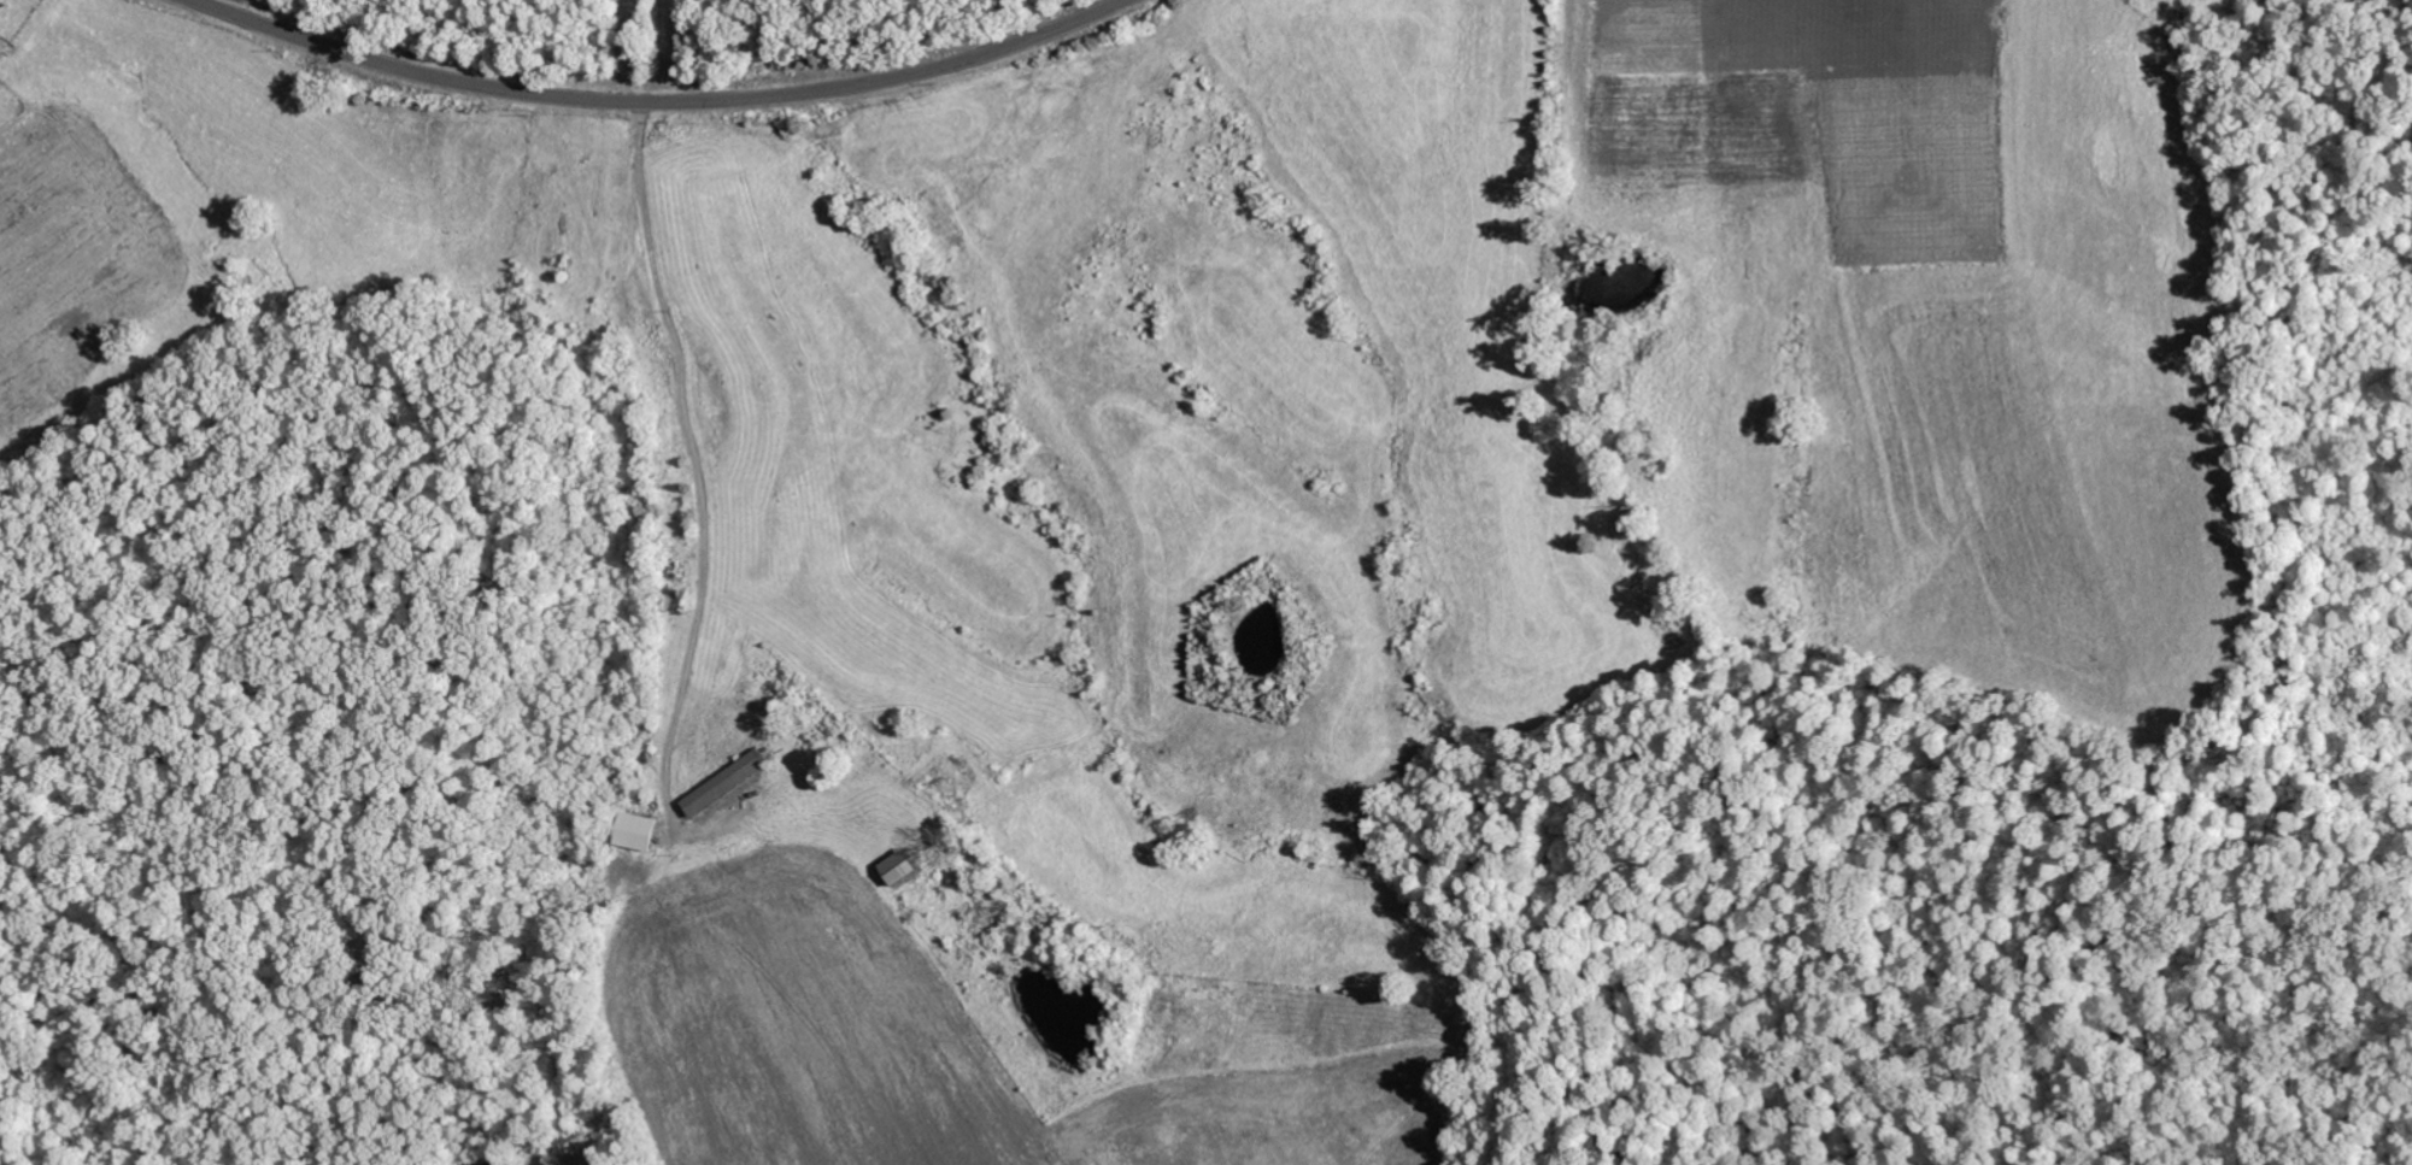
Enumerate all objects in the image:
road: (618, 49)
road: (657, 101)
road: (715, 476)
building: (721, 783)
building: (635, 831)
building: (894, 867)

